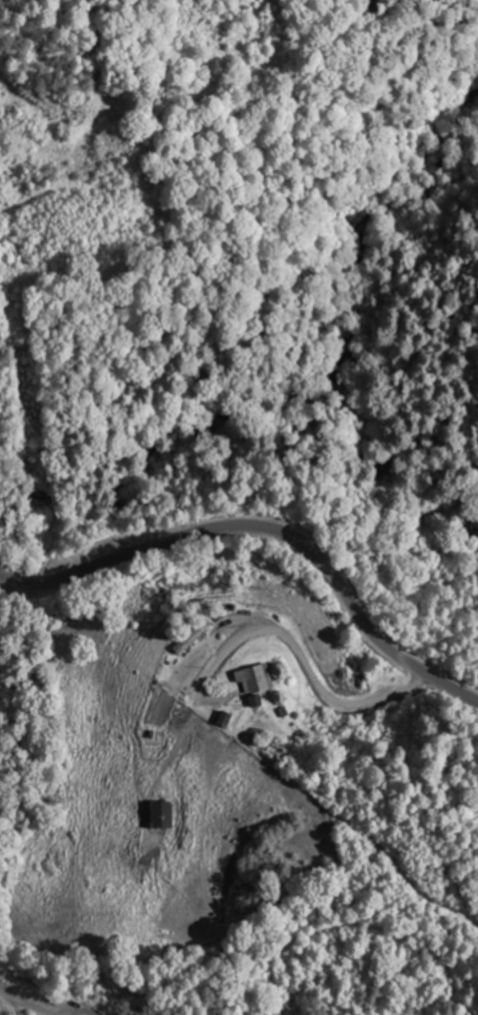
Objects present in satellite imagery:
road: (84, 130)
road: (266, 531)
road: (2, 584)
building: (190, 638)
road: (299, 660)
building: (249, 679)
building: (157, 816)
road: (23, 1003)

